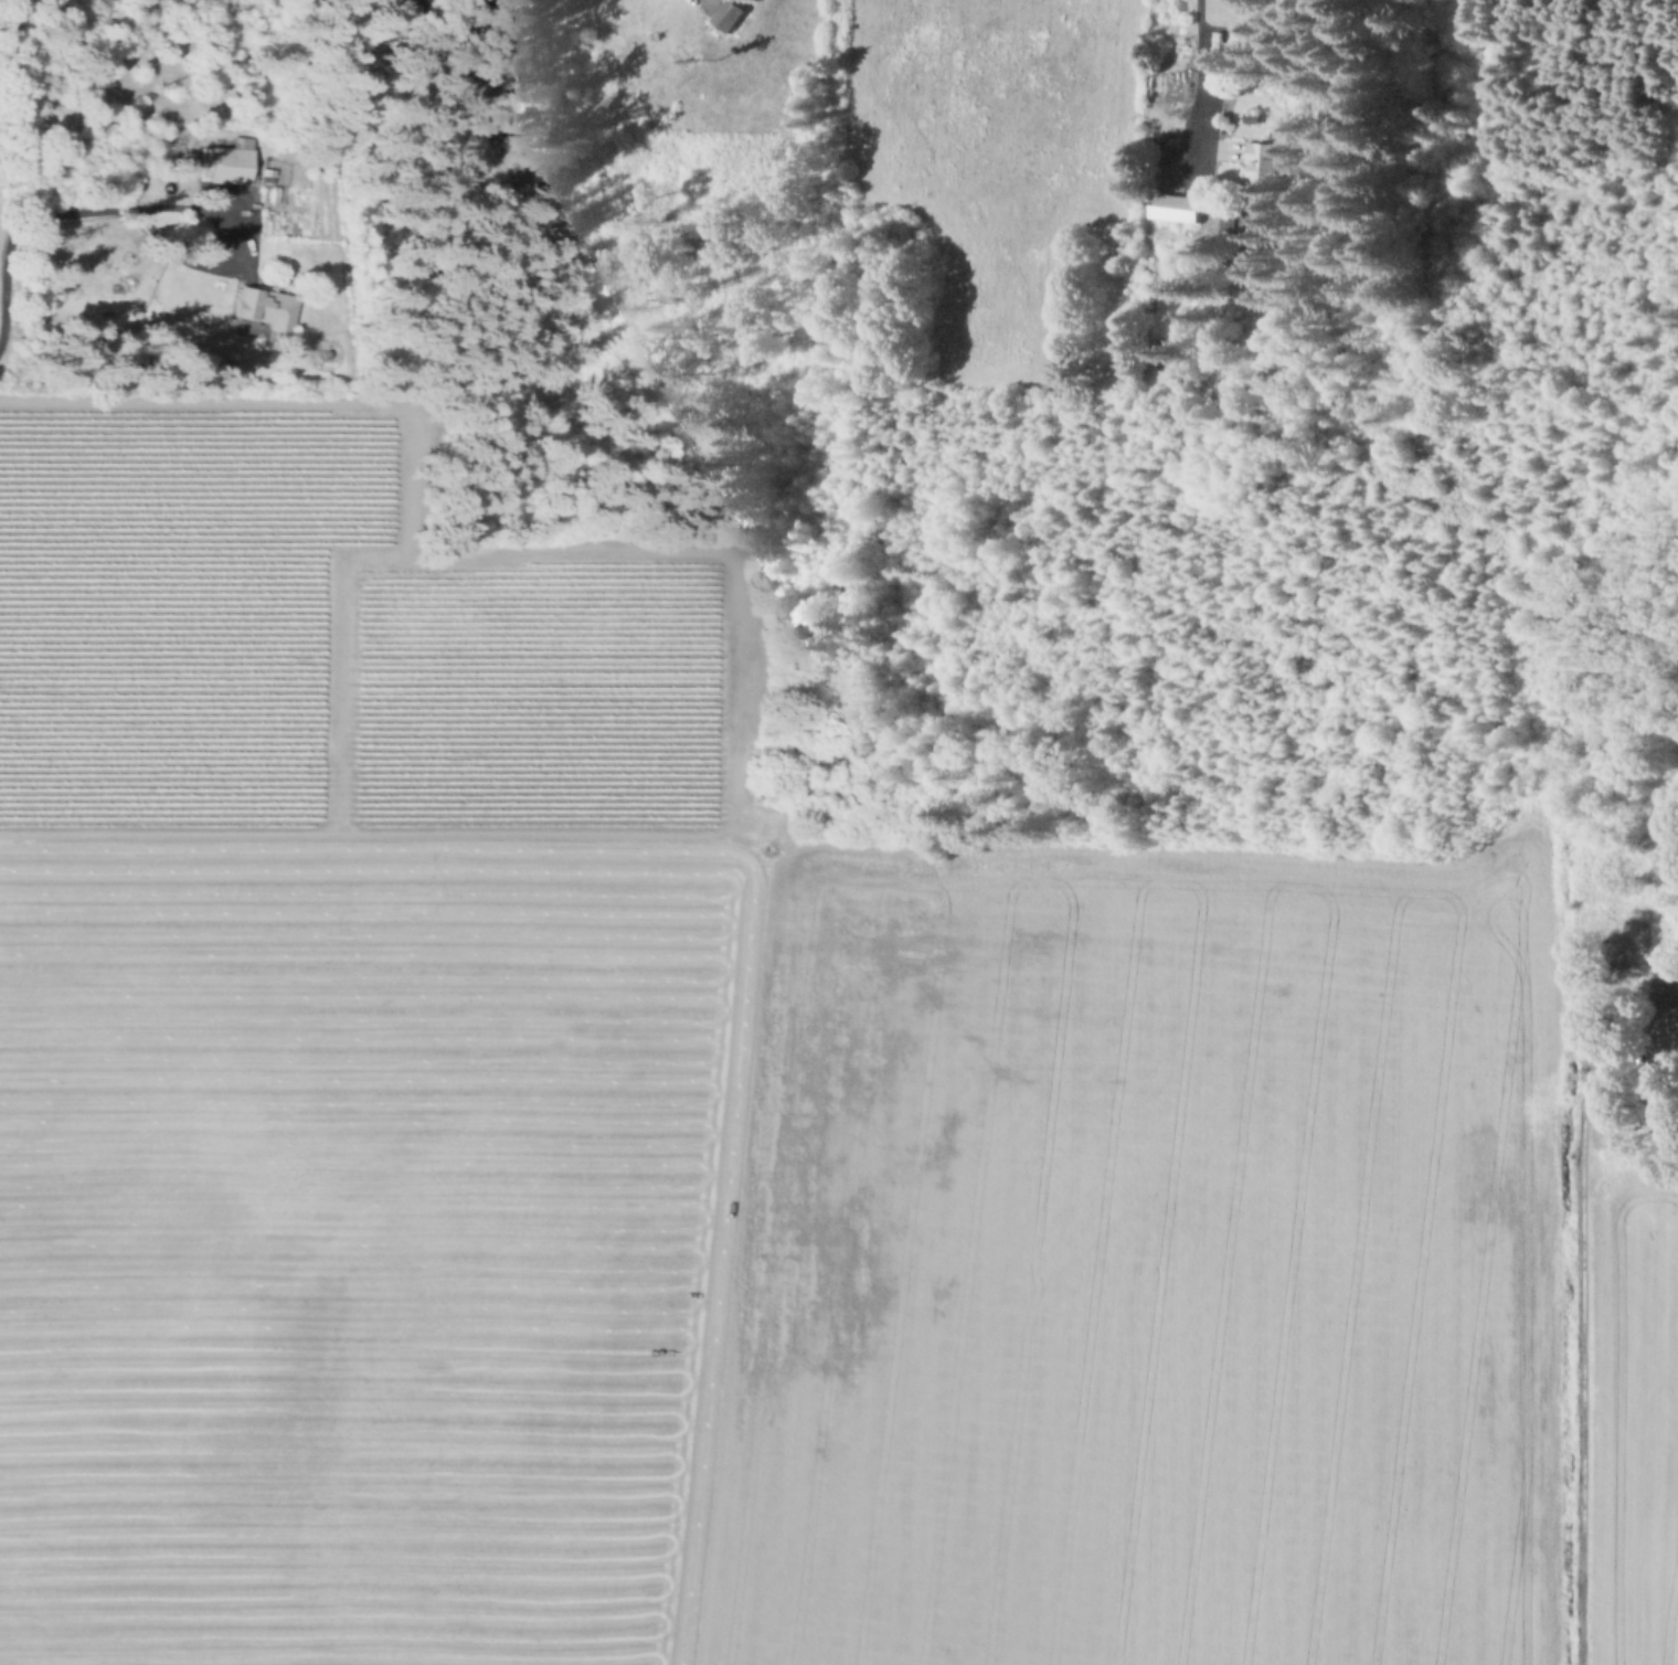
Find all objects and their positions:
building: (730, 18)
road: (1199, 91)
building: (1253, 117)
building: (226, 162)
building: (1267, 170)
road: (145, 206)
building: (1179, 208)
building: (1224, 225)
road: (2, 306)
building: (267, 307)
road: (276, 400)
road: (338, 665)
road: (663, 829)
building: (1667, 991)
building: (1666, 1089)
crop: (359, 1243)
crop: (1137, 1261)
road: (1584, 1359)
crop: (1635, 1421)

